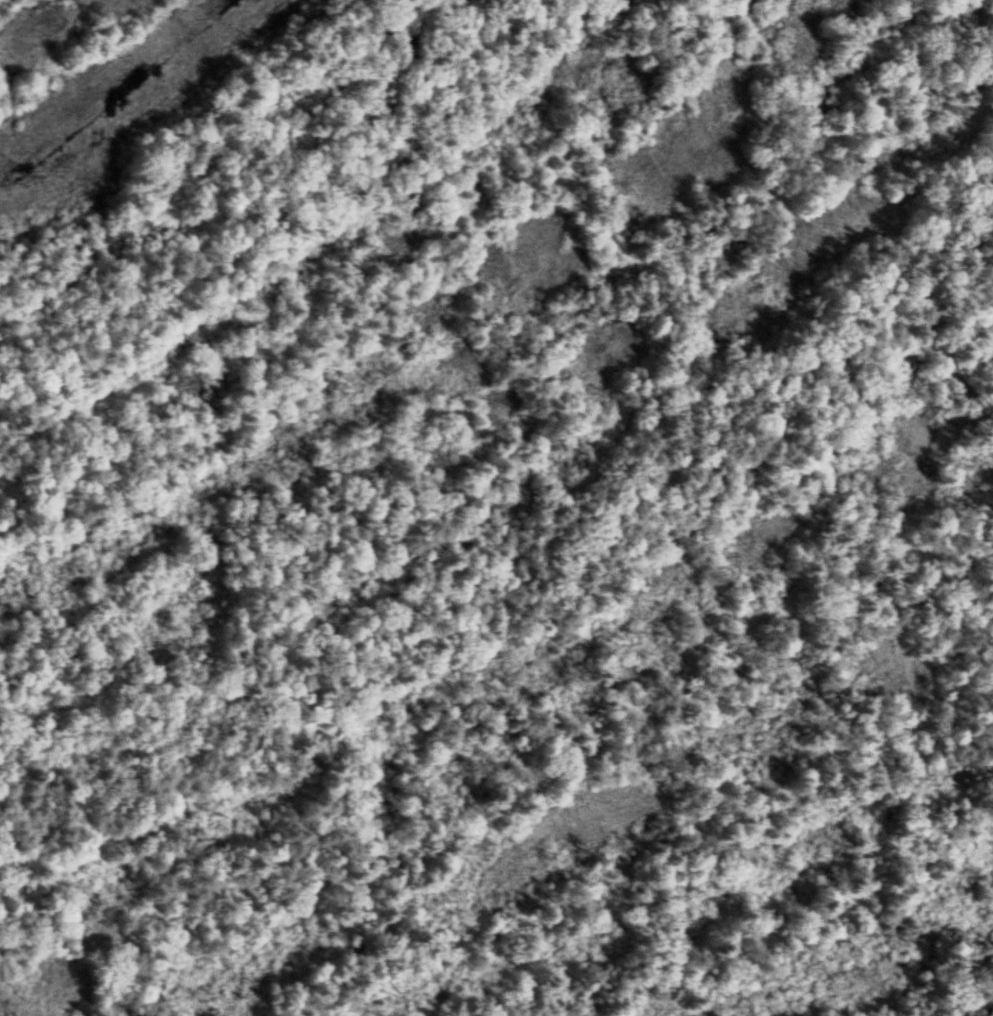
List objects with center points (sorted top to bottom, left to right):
road: (949, 291)

